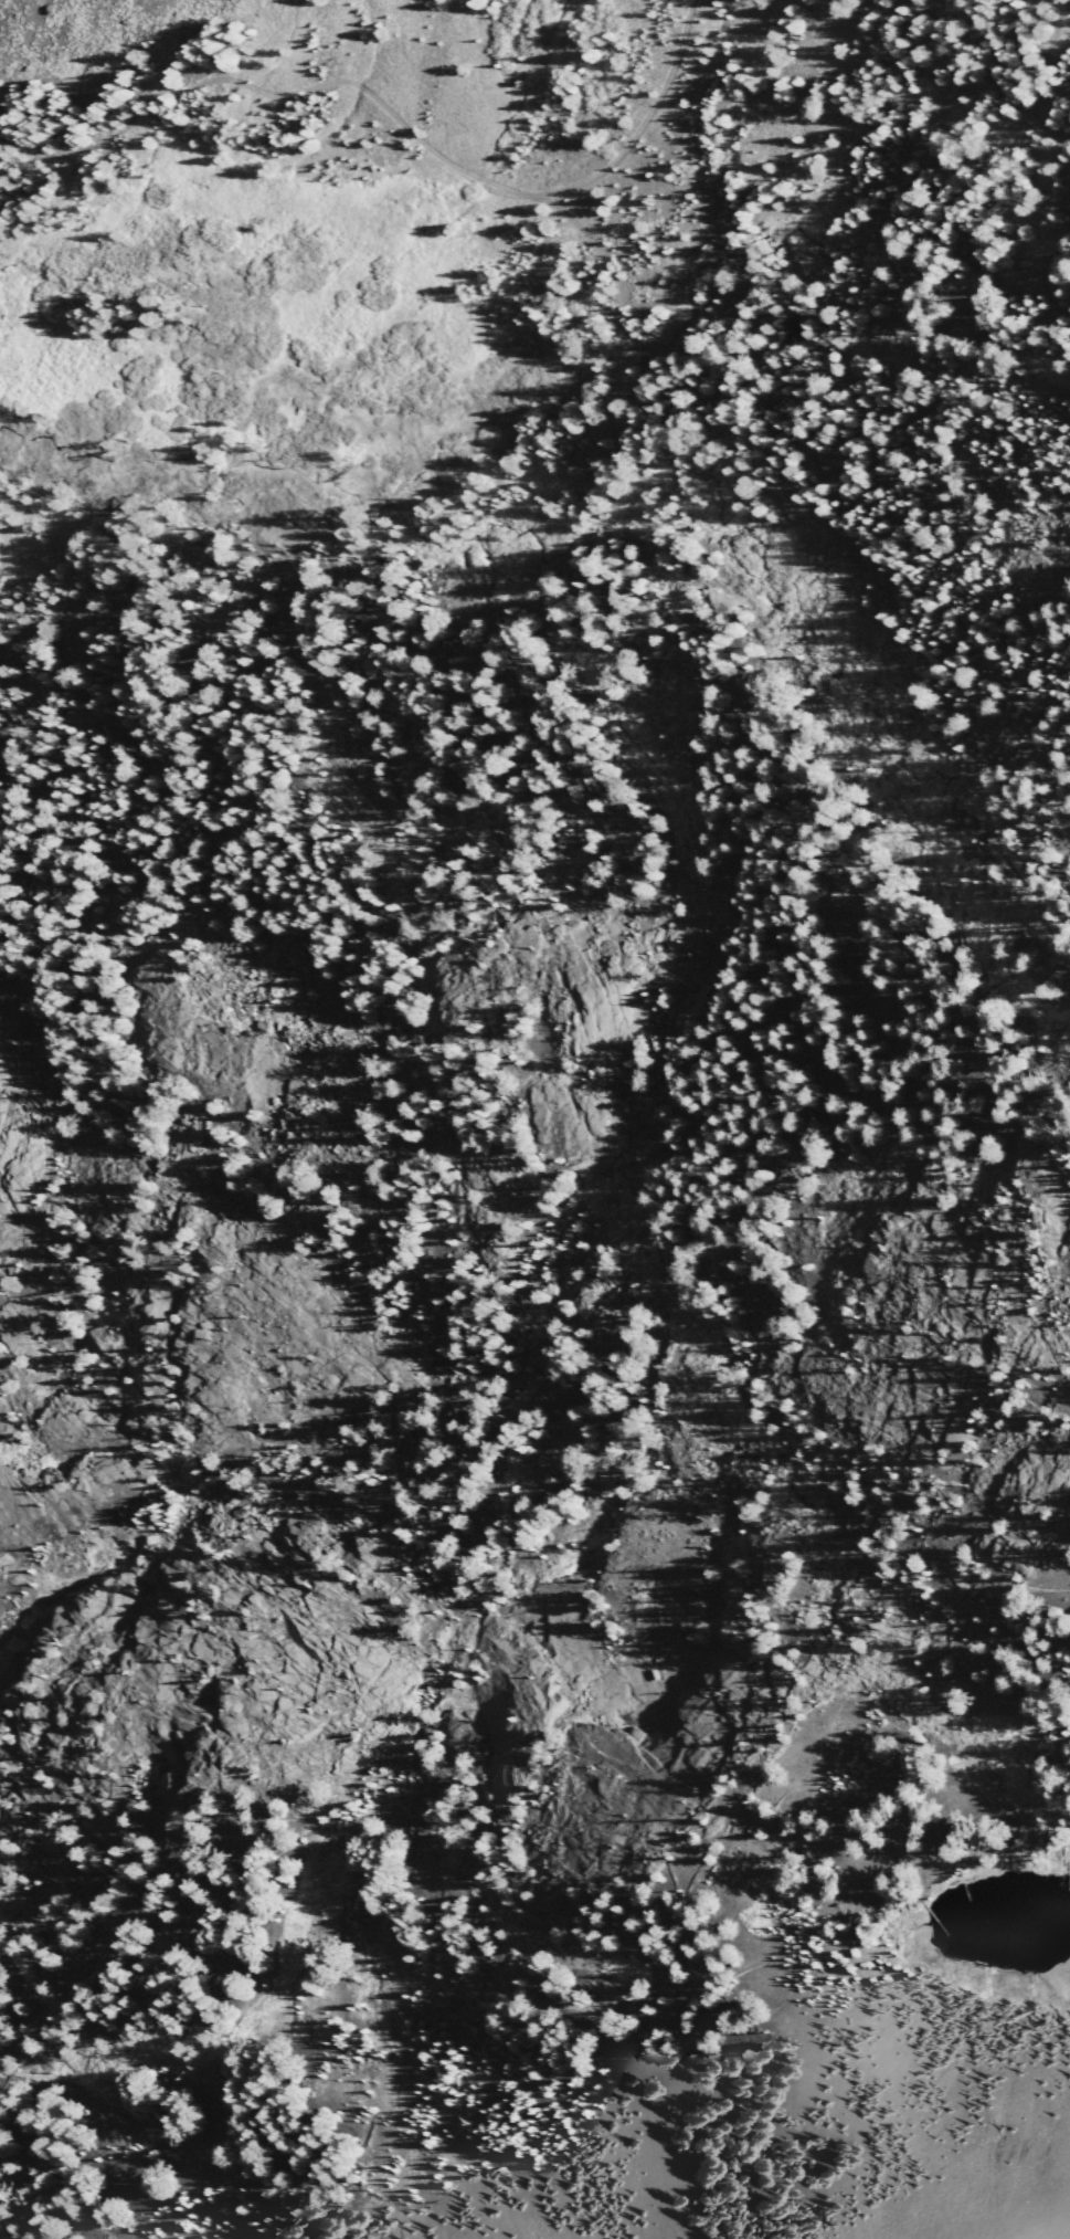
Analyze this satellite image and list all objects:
road: (990, 18)
road: (391, 116)
road: (561, 633)

